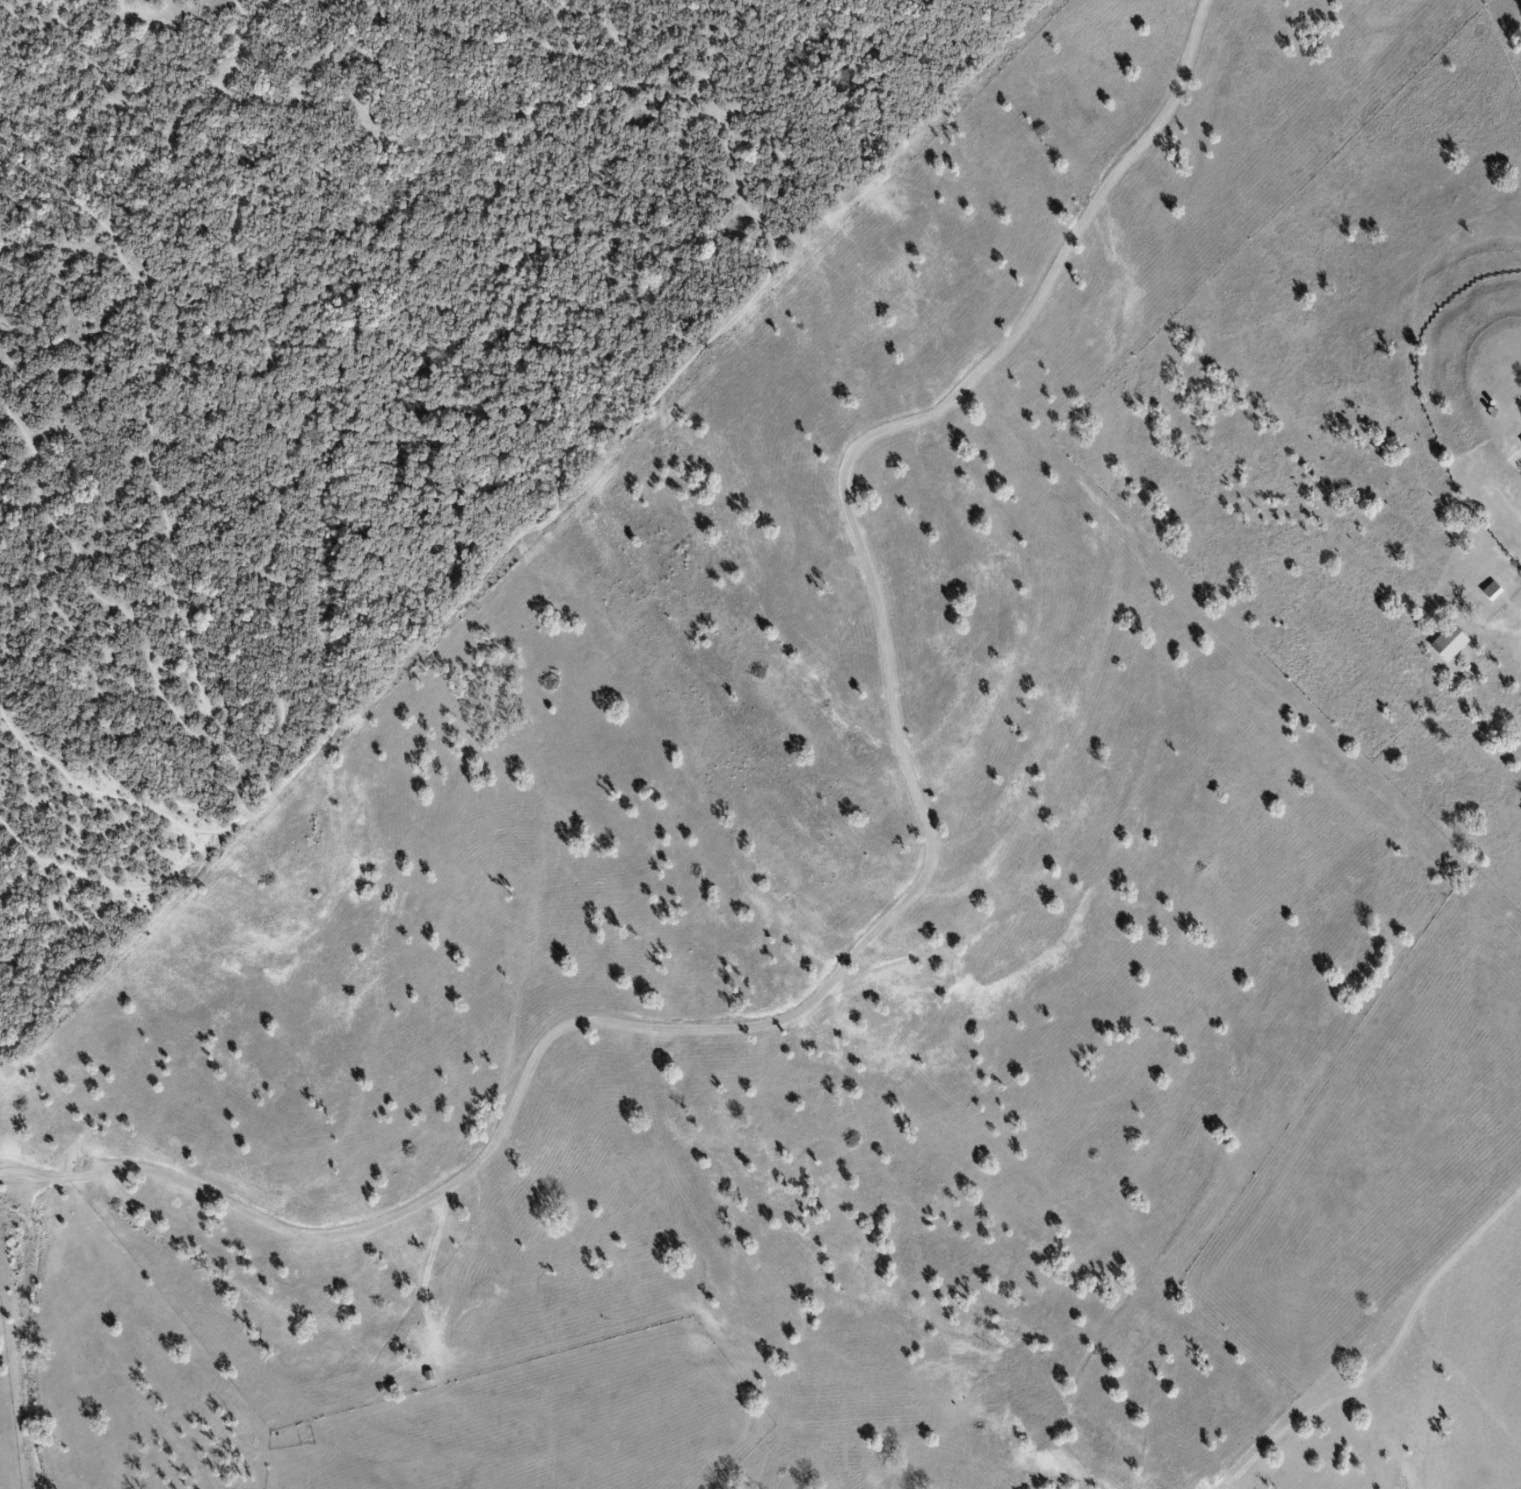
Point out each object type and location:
park: (352, 368)
building: (1496, 593)
building: (1454, 644)
road: (906, 904)

